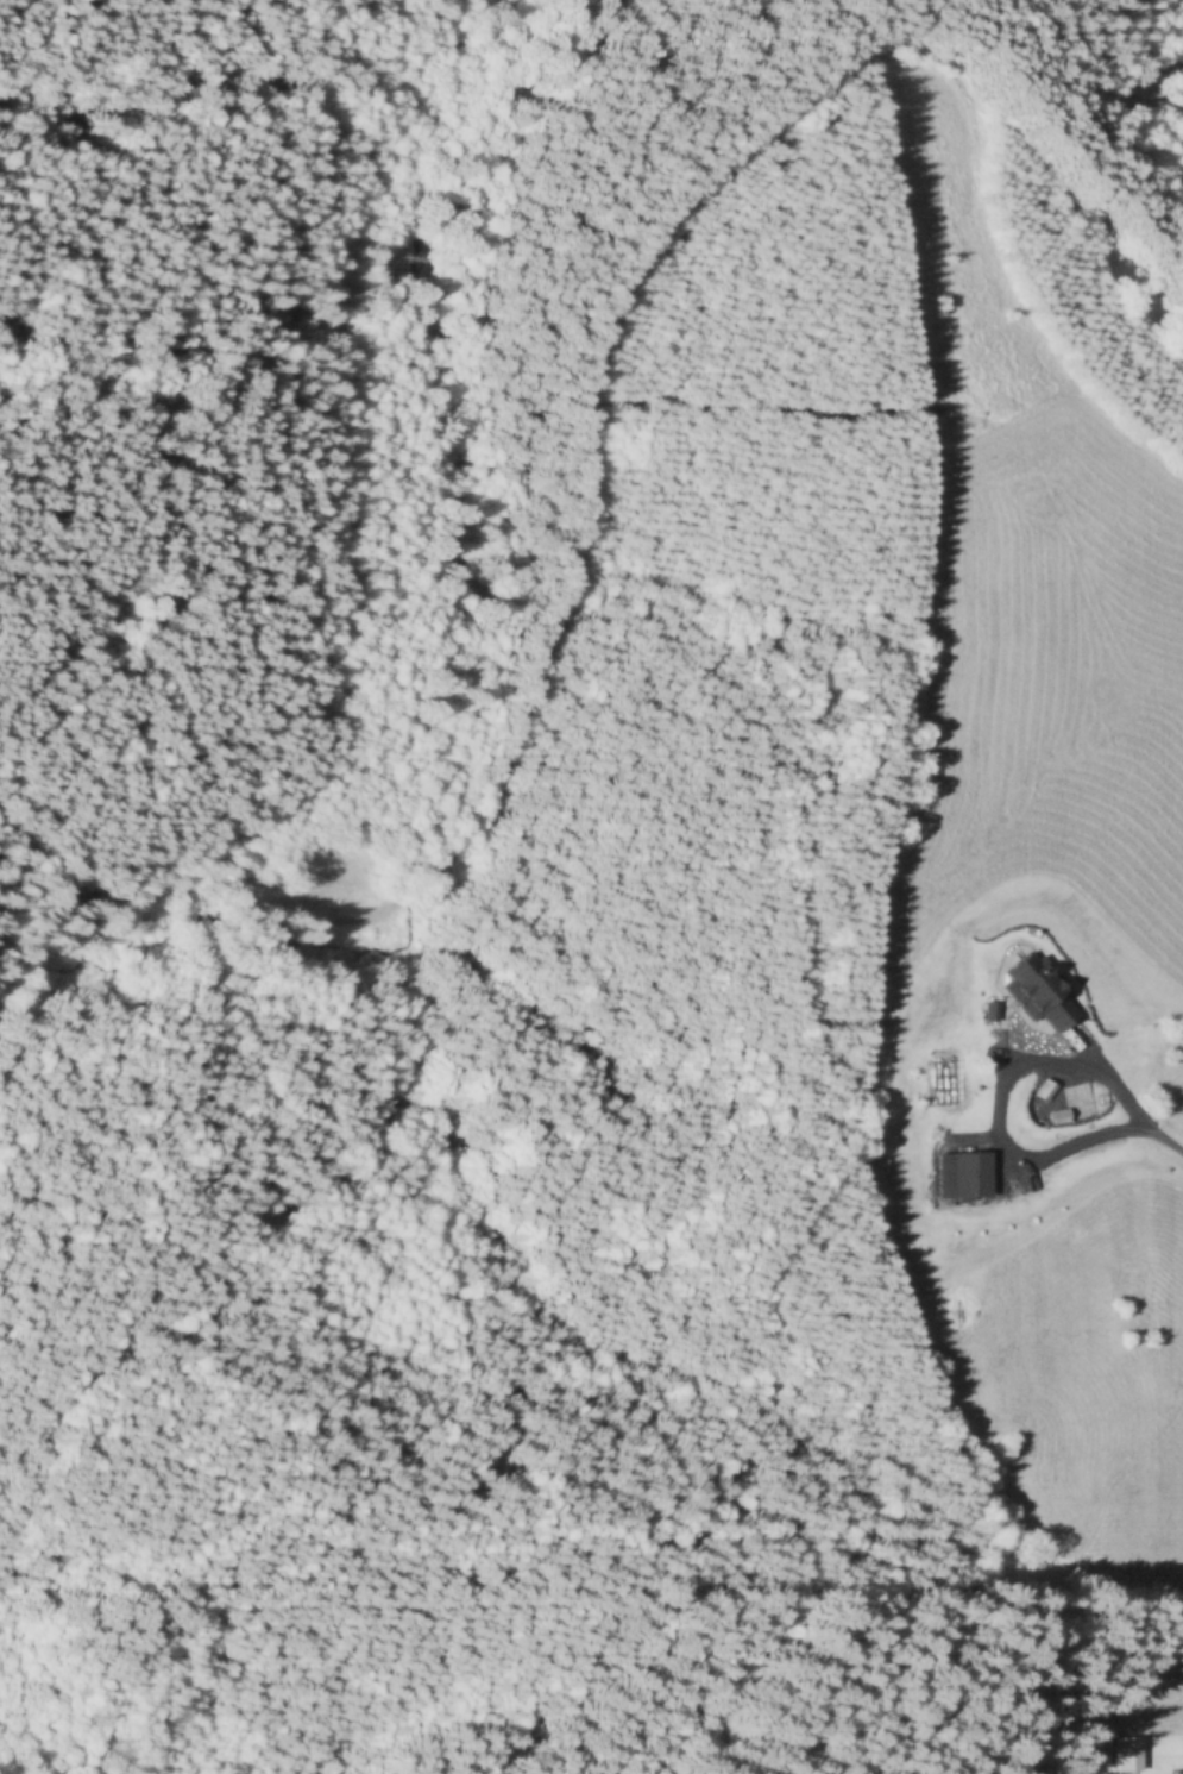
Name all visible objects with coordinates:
building: (1006, 1002)
road: (981, 1090)
building: (1025, 1101)
building: (1080, 1102)
road: (1158, 1137)
building: (963, 1176)
building: (1125, 1754)

